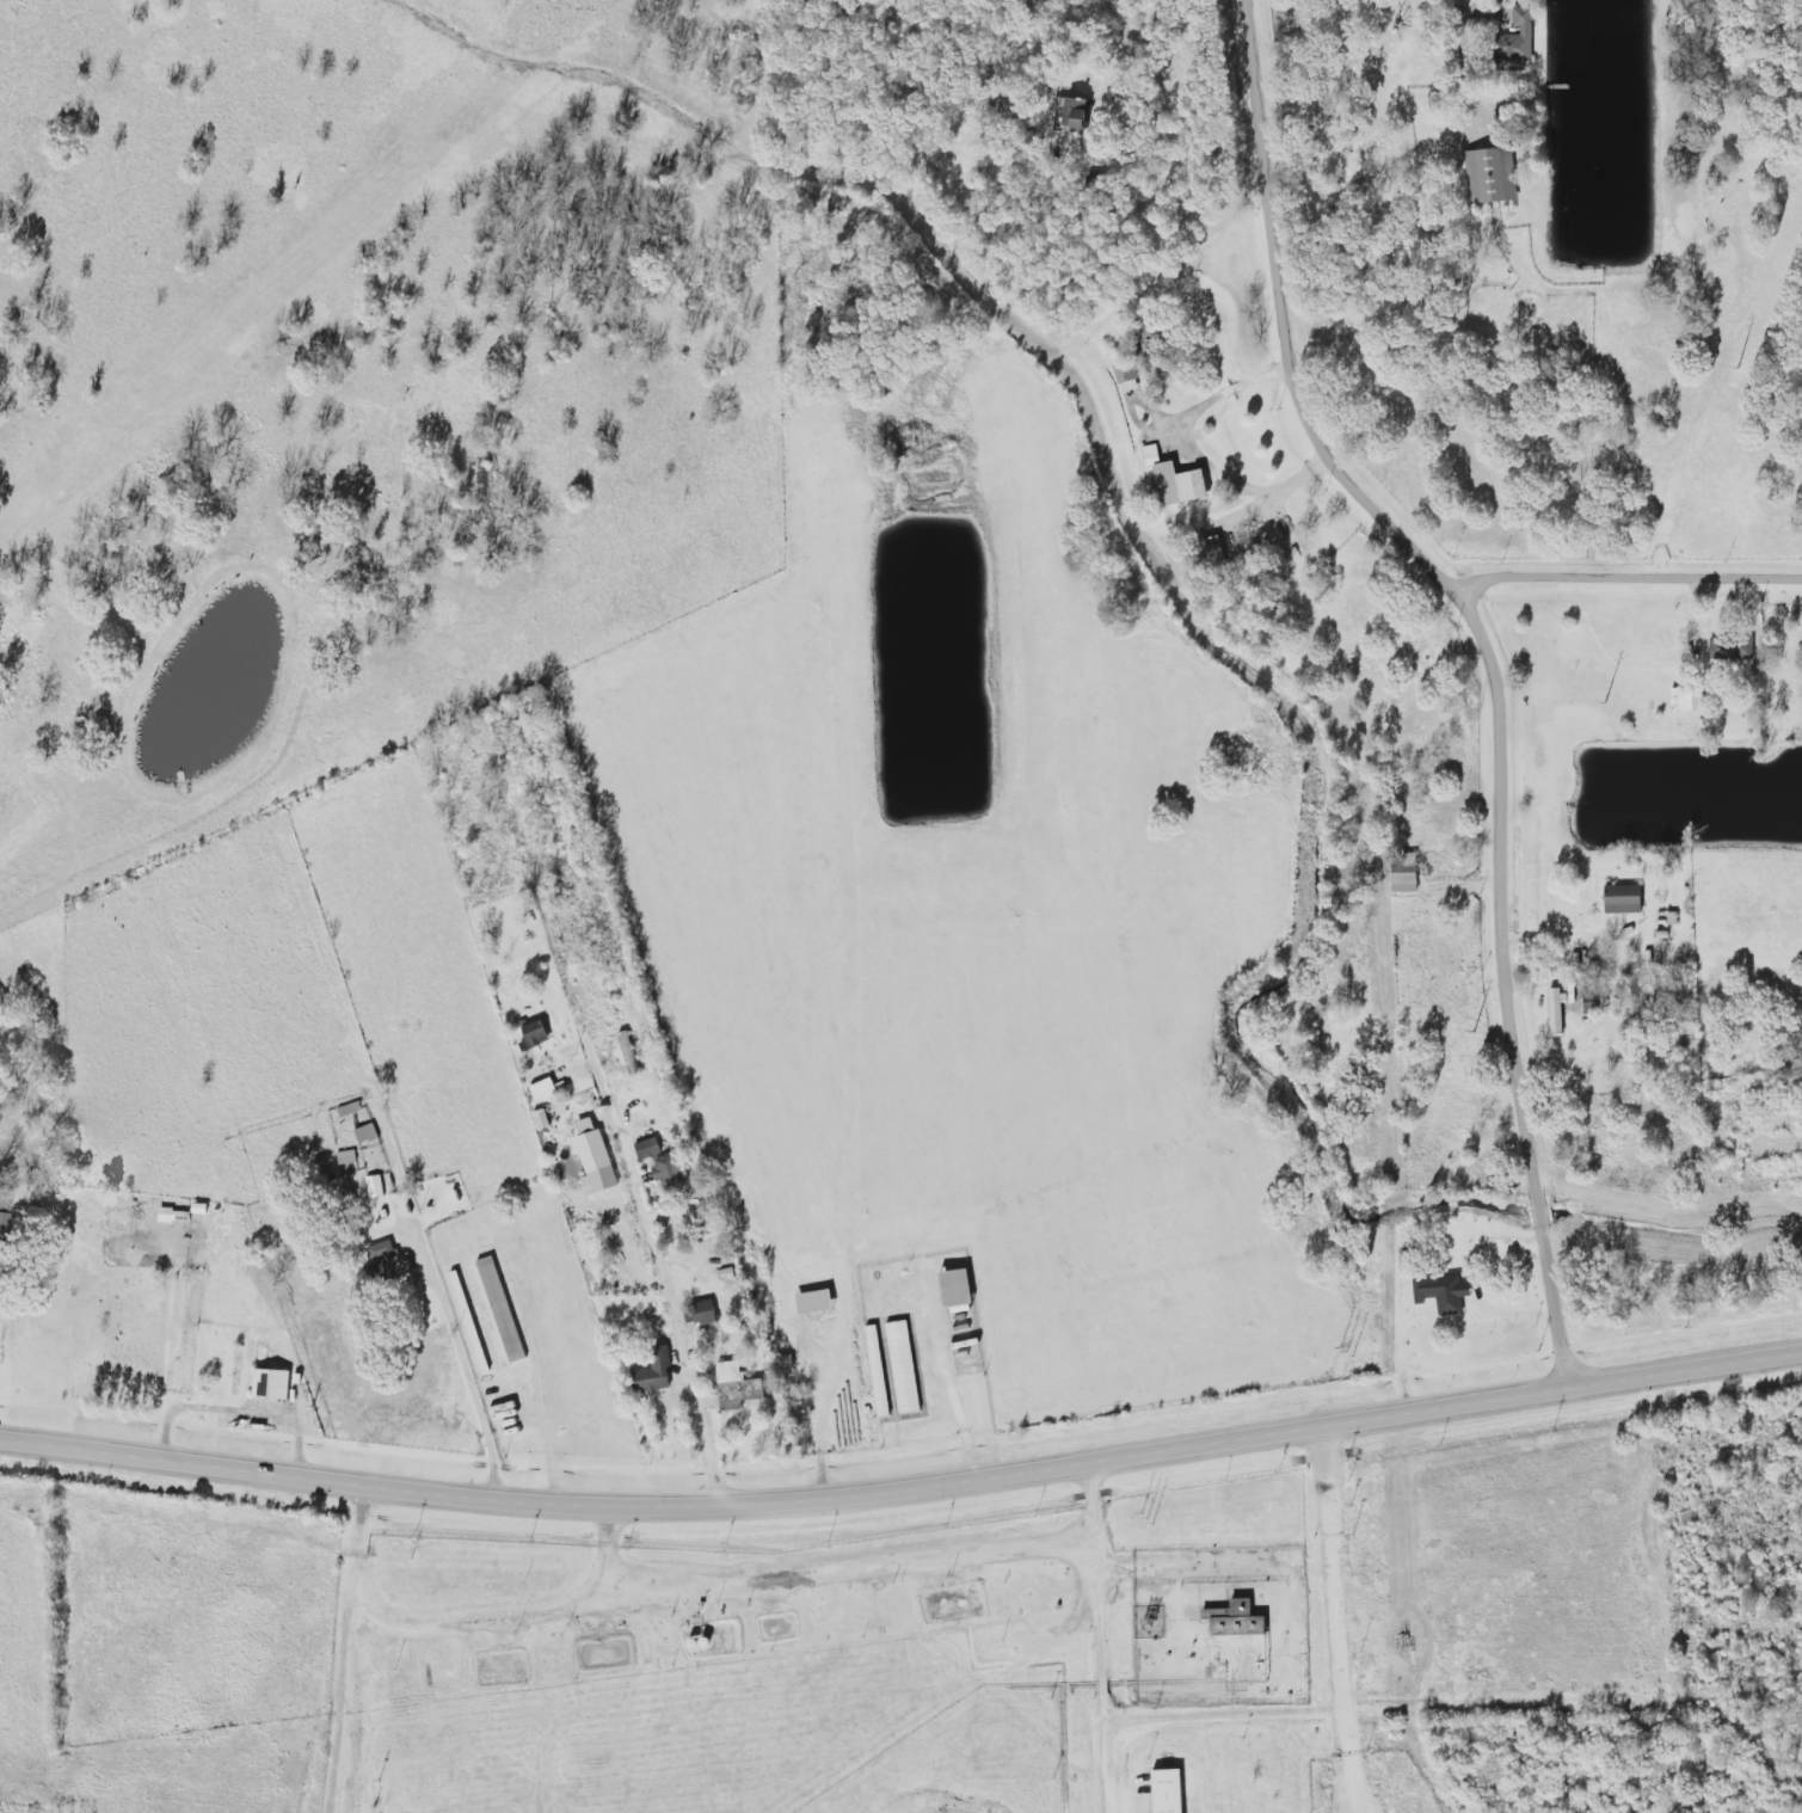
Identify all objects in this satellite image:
road: (1466, 7)
building: (1521, 37)
road: (1168, 173)
building: (1492, 176)
power tower: (1735, 369)
building: (1126, 376)
road: (1214, 398)
building: (1176, 479)
road: (1629, 582)
building: (1724, 653)
road: (1493, 663)
power tower: (1604, 699)
building: (1407, 873)
building: (1624, 898)
building: (1568, 991)
building: (1588, 1001)
building: (1555, 1012)
power tower: (1471, 1031)
building: (536, 1034)
building: (628, 1052)
building: (543, 1088)
building: (540, 1118)
building: (367, 1132)
building: (648, 1148)
road: (832, 1155)
building: (595, 1159)
building: (671, 1168)
road: (625, 1170)
building: (168, 1213)
building: (4, 1228)
building: (386, 1262)
building: (959, 1287)
building: (1443, 1291)
building: (816, 1302)
building: (502, 1309)
building: (705, 1311)
power tower: (1345, 1352)
building: (892, 1368)
building: (656, 1375)
building: (272, 1383)
road: (468, 1383)
building: (737, 1385)
road: (904, 1494)
power tower: (1145, 1518)
road: (819, 1572)
road: (24, 1580)
building: (1237, 1620)
power substation: (1148, 1622)
road: (1337, 1622)
road: (1102, 1639)
road: (348, 1651)
building: (1169, 1792)

